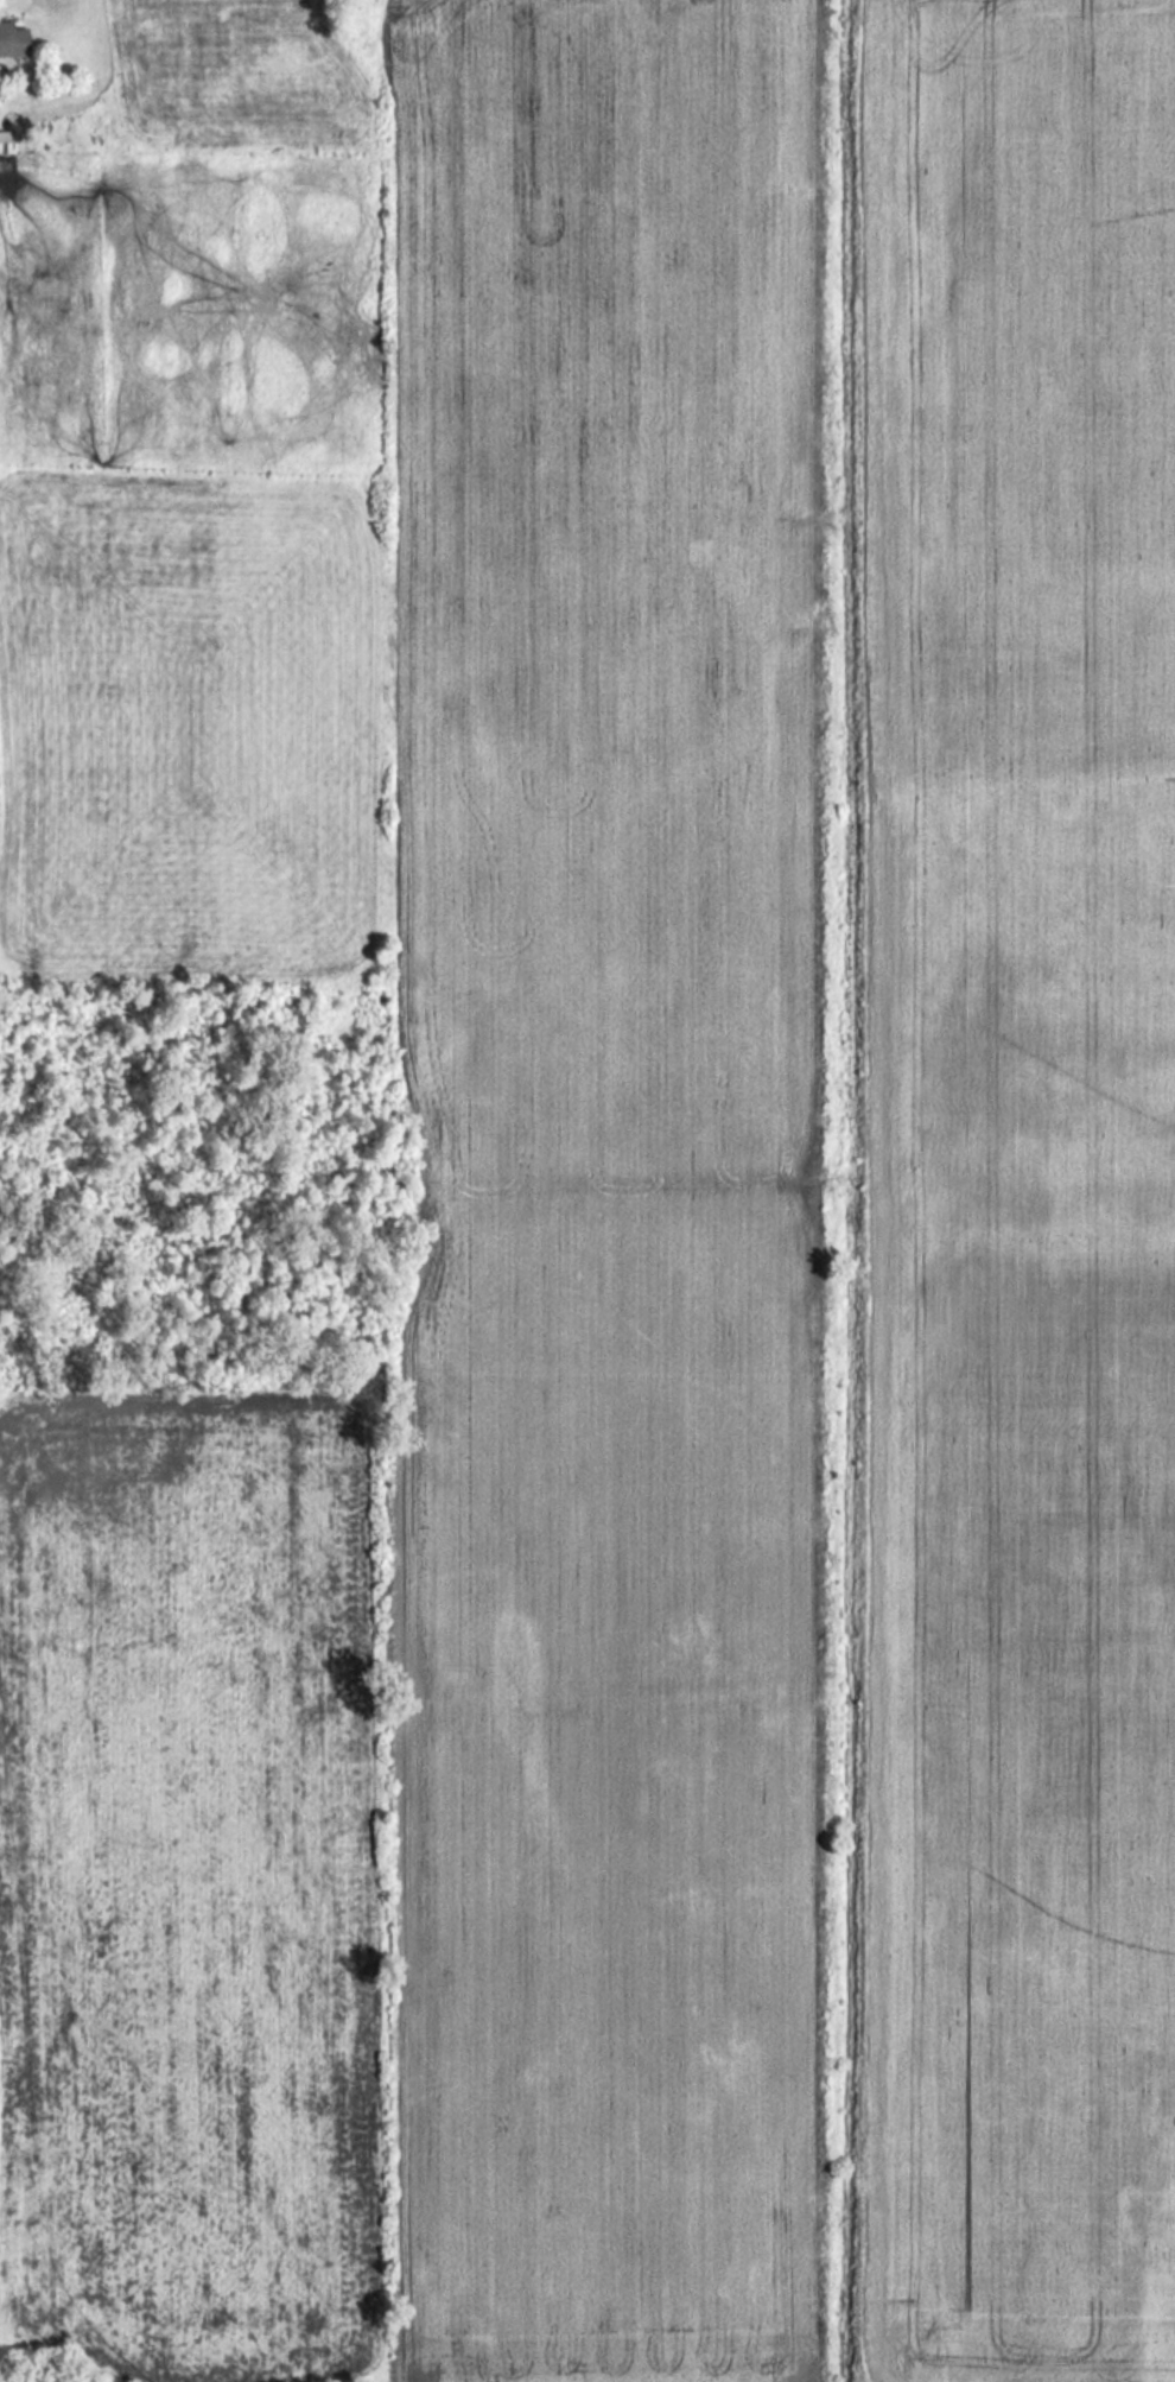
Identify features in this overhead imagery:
building: (17, 40)
building: (9, 141)

